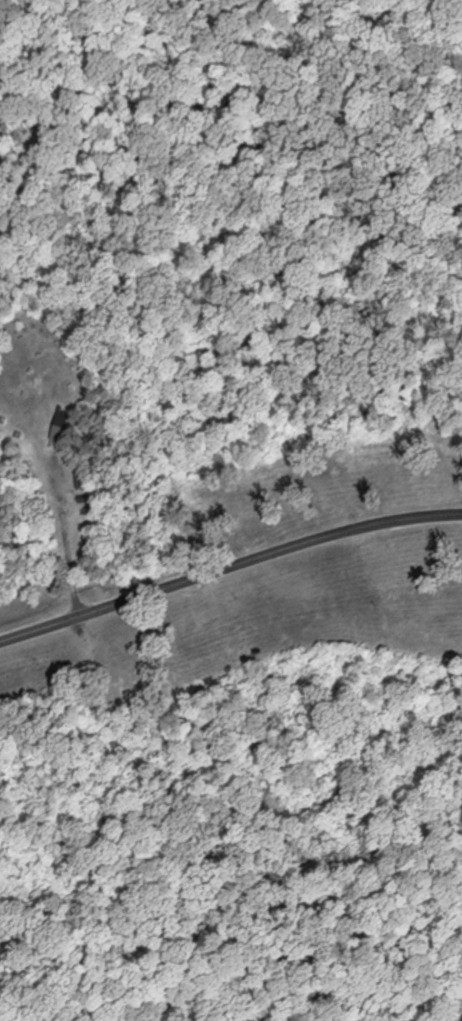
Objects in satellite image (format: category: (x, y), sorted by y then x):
building: (54, 426)
road: (228, 571)

